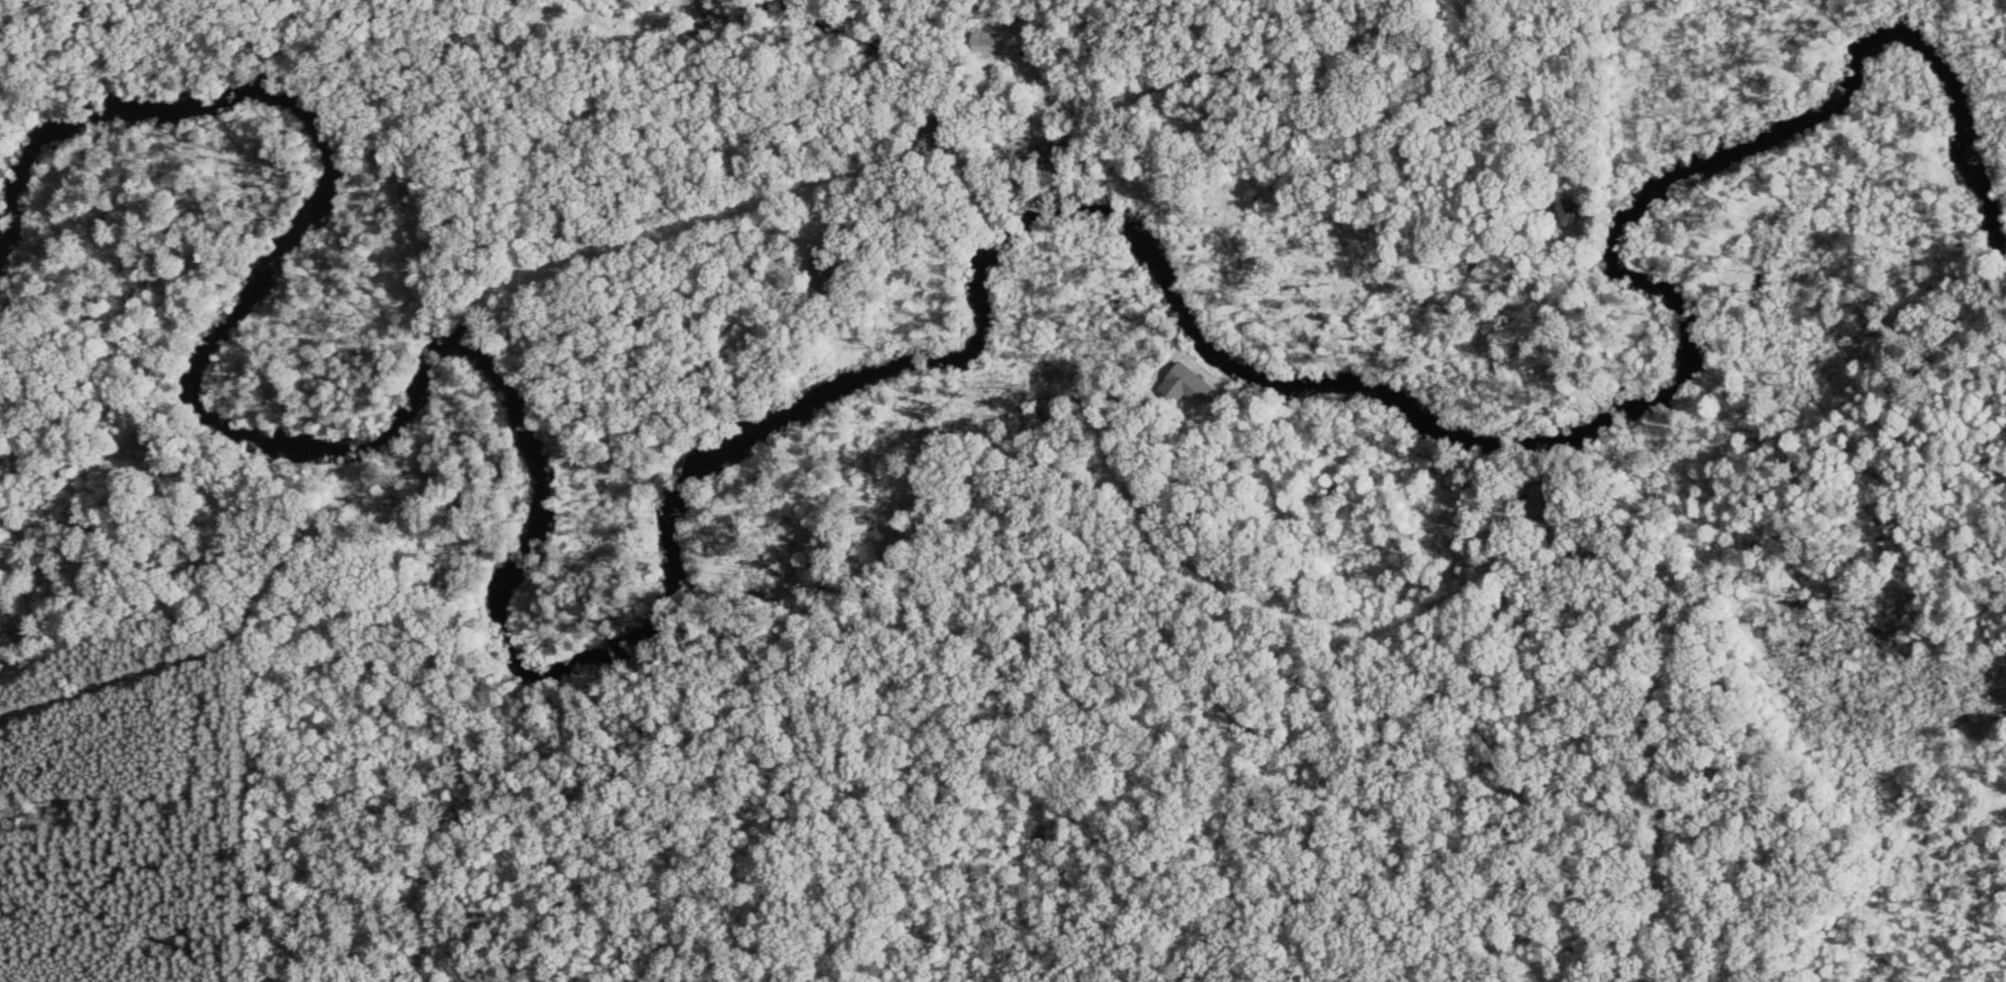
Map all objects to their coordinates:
building: (1189, 383)
river: (829, 395)
road: (283, 726)

